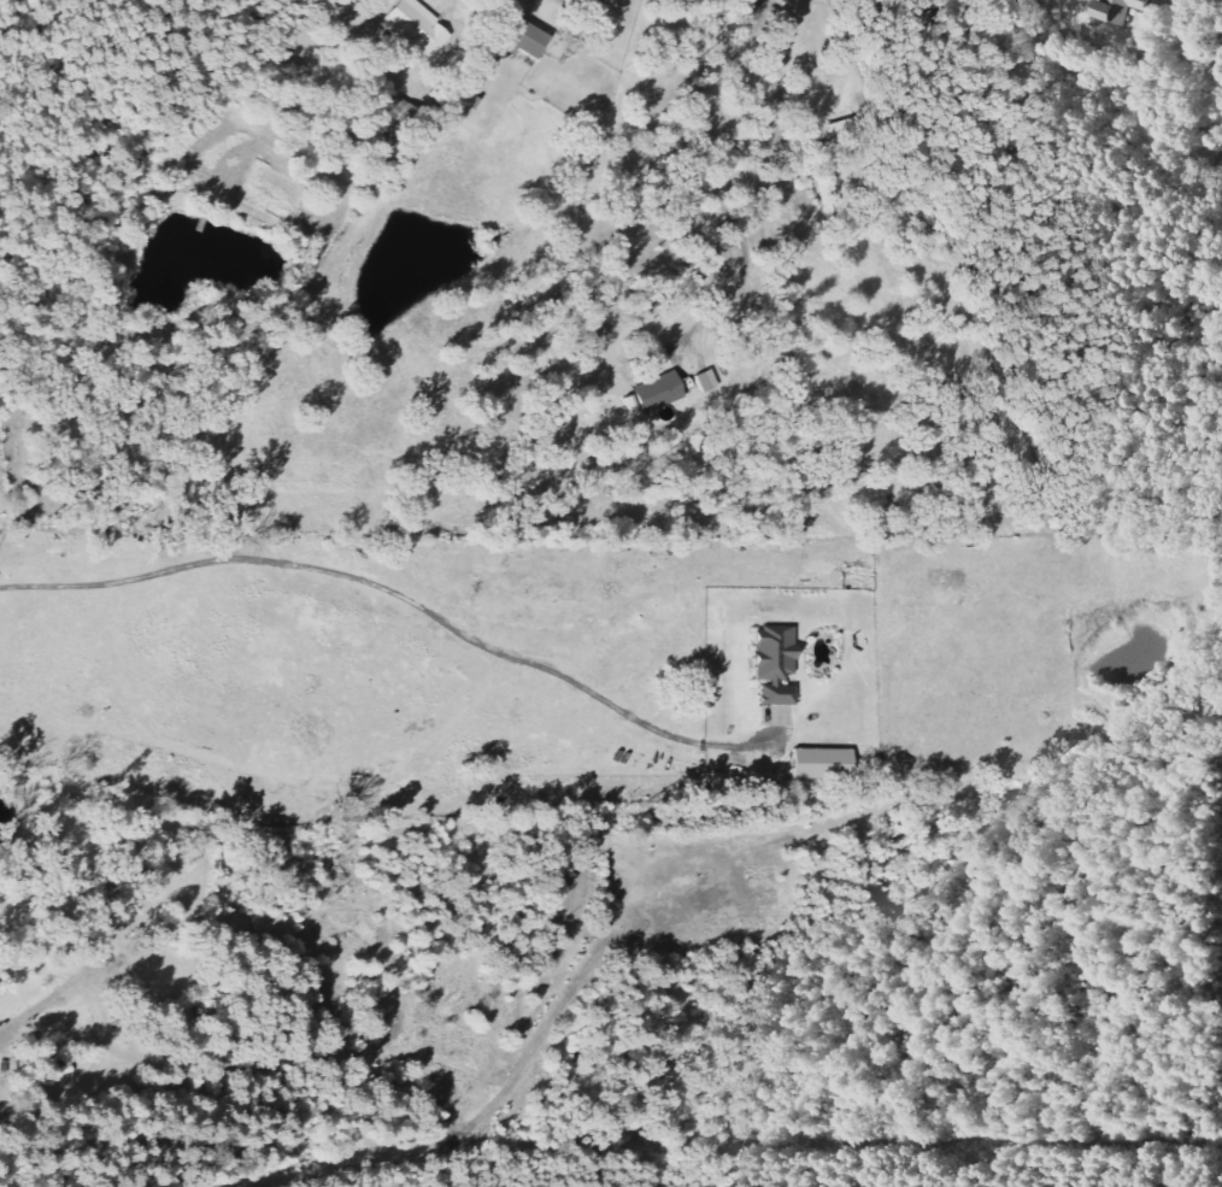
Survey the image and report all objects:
building: (604, 0)
building: (1112, 10)
building: (519, 39)
building: (456, 101)
building: (652, 394)
building: (772, 665)
building: (821, 764)

